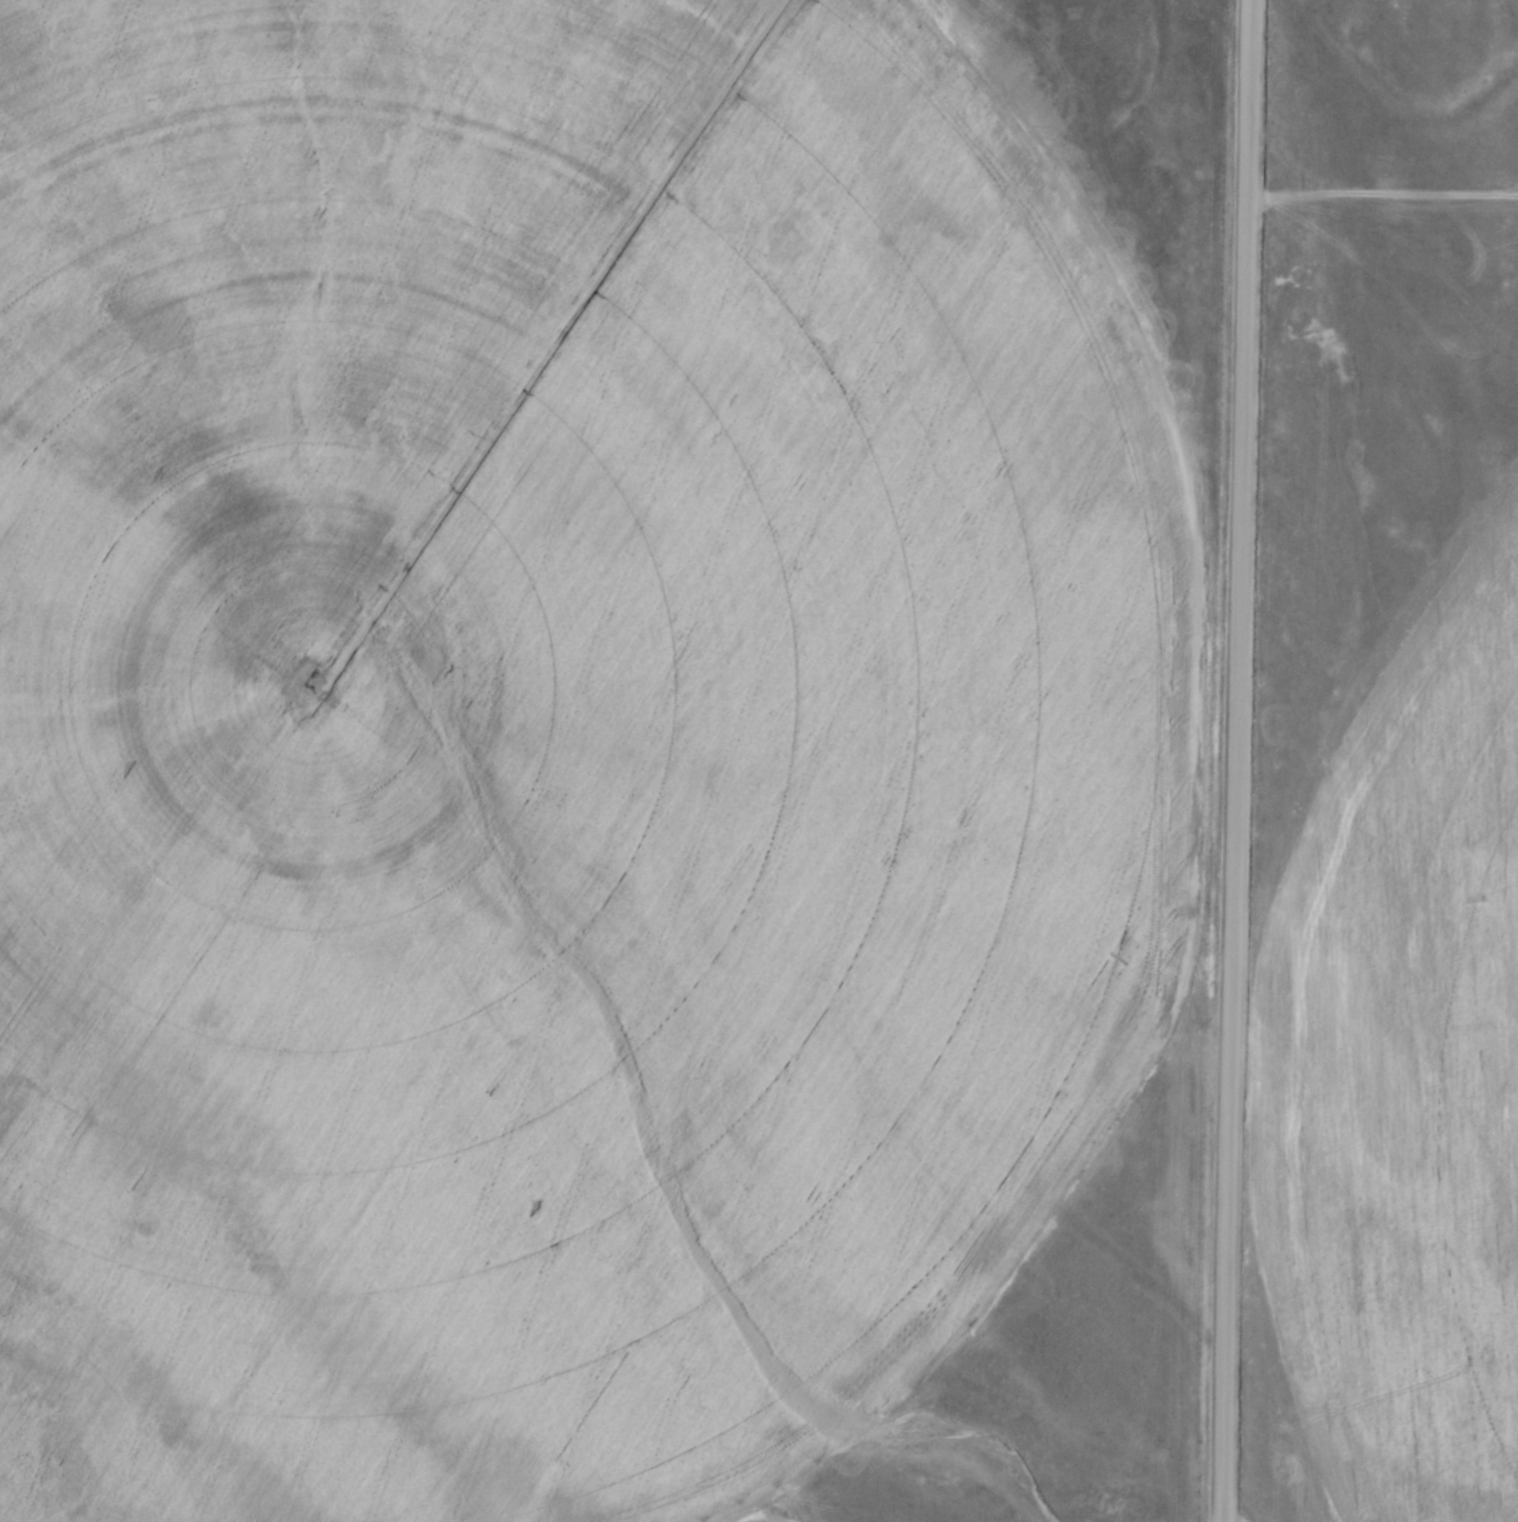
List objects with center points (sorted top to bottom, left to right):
road: (1244, 761)

